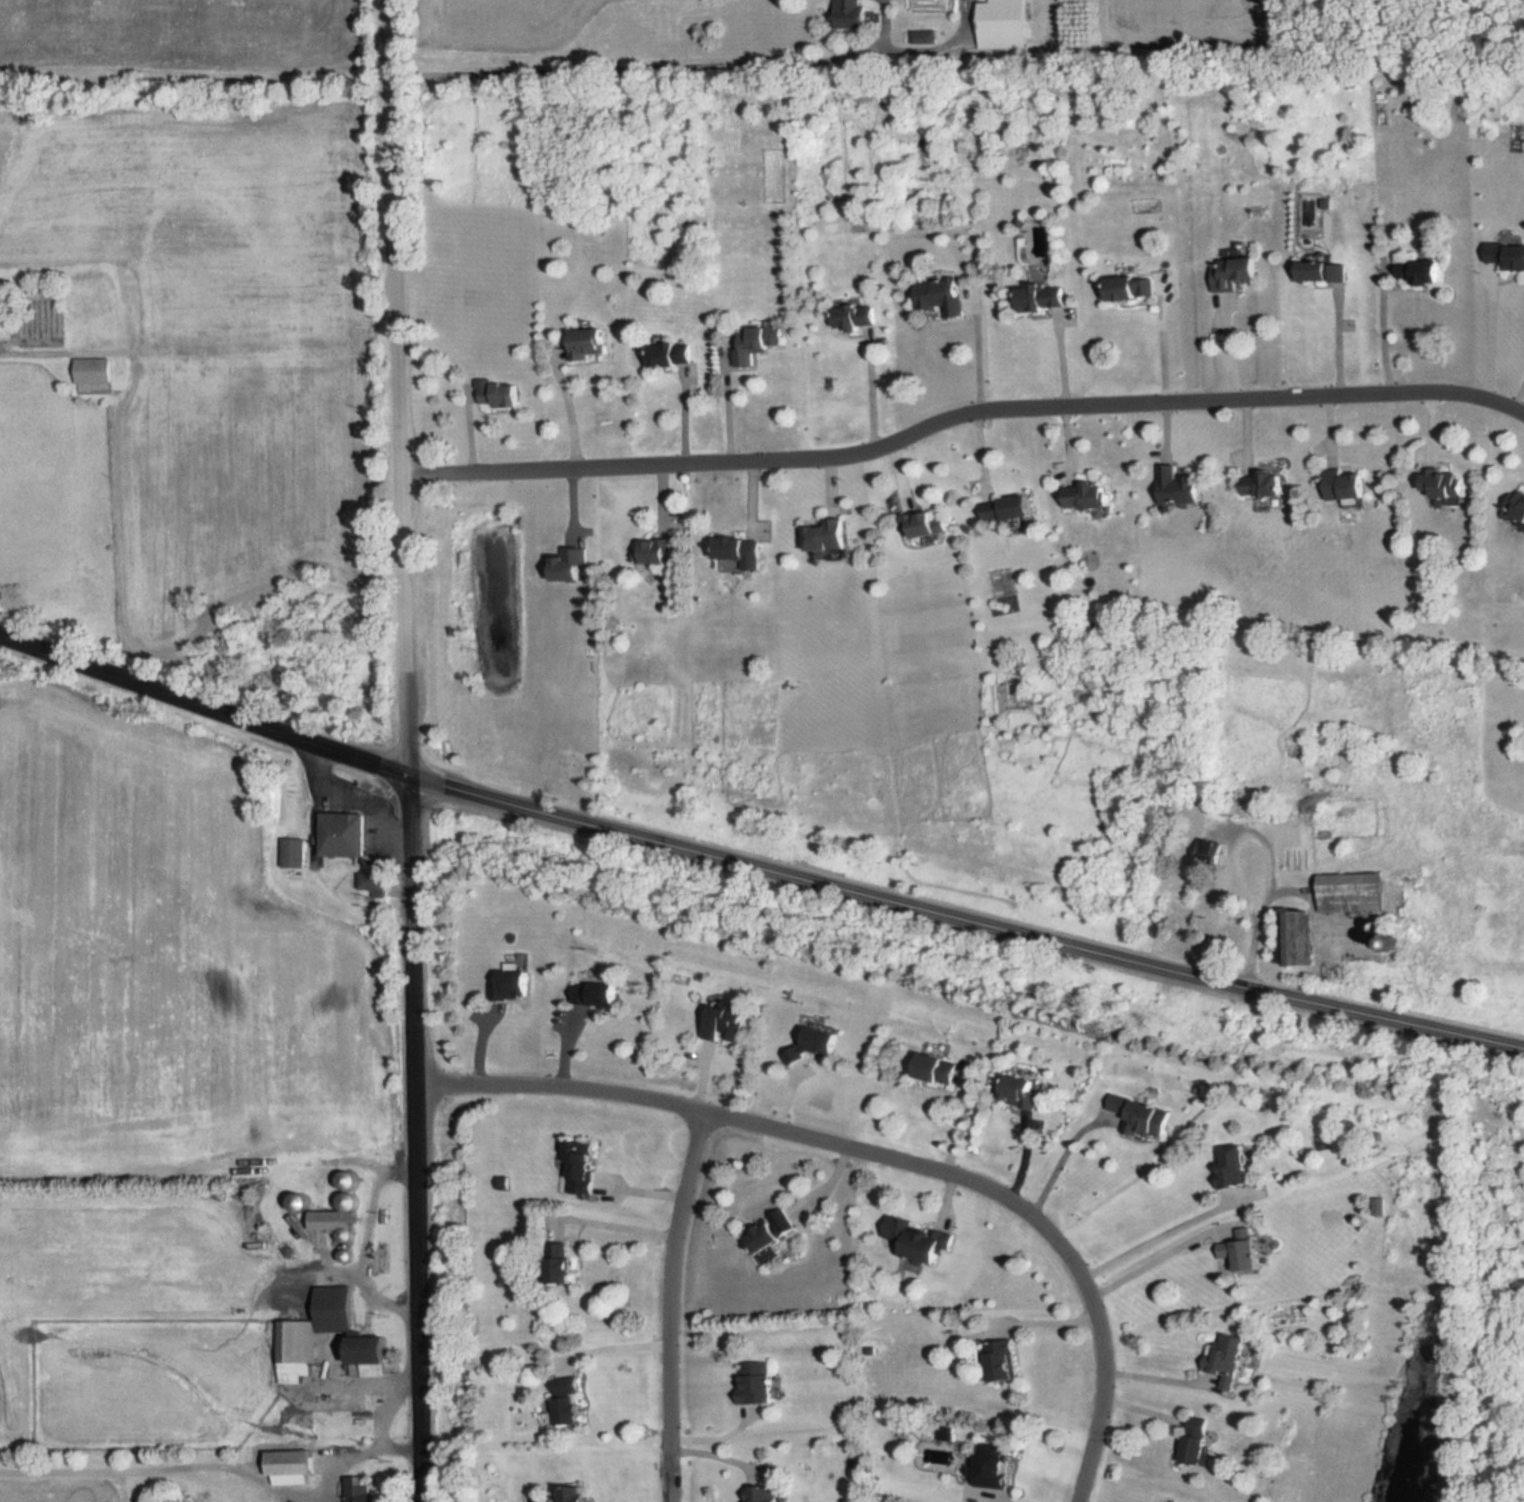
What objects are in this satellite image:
building: (850, 14)
building: (1003, 24)
building: (924, 36)
road: (635, 69)
building: (1506, 253)
building: (1236, 269)
building: (1423, 271)
building: (1320, 272)
building: (1130, 288)
building: (942, 296)
building: (1042, 297)
building: (860, 315)
road: (1385, 326)
road: (1492, 339)
road: (1339, 342)
building: (589, 343)
building: (758, 343)
road: (1165, 347)
road: (1229, 347)
road: (978, 350)
building: (673, 353)
building: (95, 370)
road: (871, 387)
road: (400, 388)
building: (501, 394)
road: (1518, 395)
road: (732, 406)
road: (570, 415)
road: (961, 415)
building: (1265, 482)
building: (1443, 482)
building: (1347, 484)
building: (1181, 486)
building: (1089, 496)
building: (1516, 505)
building: (1010, 508)
building: (924, 525)
building: (829, 535)
building: (744, 550)
building: (659, 551)
road: (204, 707)
traffic signals: (409, 777)
road: (352, 798)
building: (1237, 804)
building: (344, 826)
road: (1234, 851)
building: (295, 852)
building: (1211, 852)
building: (1350, 881)
building: (375, 882)
road: (965, 917)
building: (1299, 940)
building: (514, 984)
building: (598, 993)
building: (726, 1026)
building: (824, 1041)
building: (793, 1058)
building: (938, 1069)
building: (1020, 1091)
building: (1143, 1117)
road: (418, 1139)
road: (882, 1157)
road: (1062, 1163)
building: (583, 1167)
building: (1235, 1167)
building: (349, 1181)
building: (300, 1202)
building: (337, 1217)
road: (620, 1228)
building: (769, 1234)
building: (920, 1238)
road: (1153, 1241)
road: (369, 1245)
building: (1246, 1250)
road: (1152, 1266)
building: (566, 1269)
road: (668, 1305)
road: (616, 1348)
building: (298, 1351)
building: (375, 1353)
building: (1229, 1358)
building: (1004, 1361)
road: (1158, 1378)
building: (760, 1382)
building: (569, 1400)
road: (390, 1406)
building: (1200, 1440)
building: (293, 1462)
building: (998, 1464)
road: (229, 1470)
building: (360, 1489)
building: (767, 1493)
building: (573, 1494)
road: (331, 1500)

